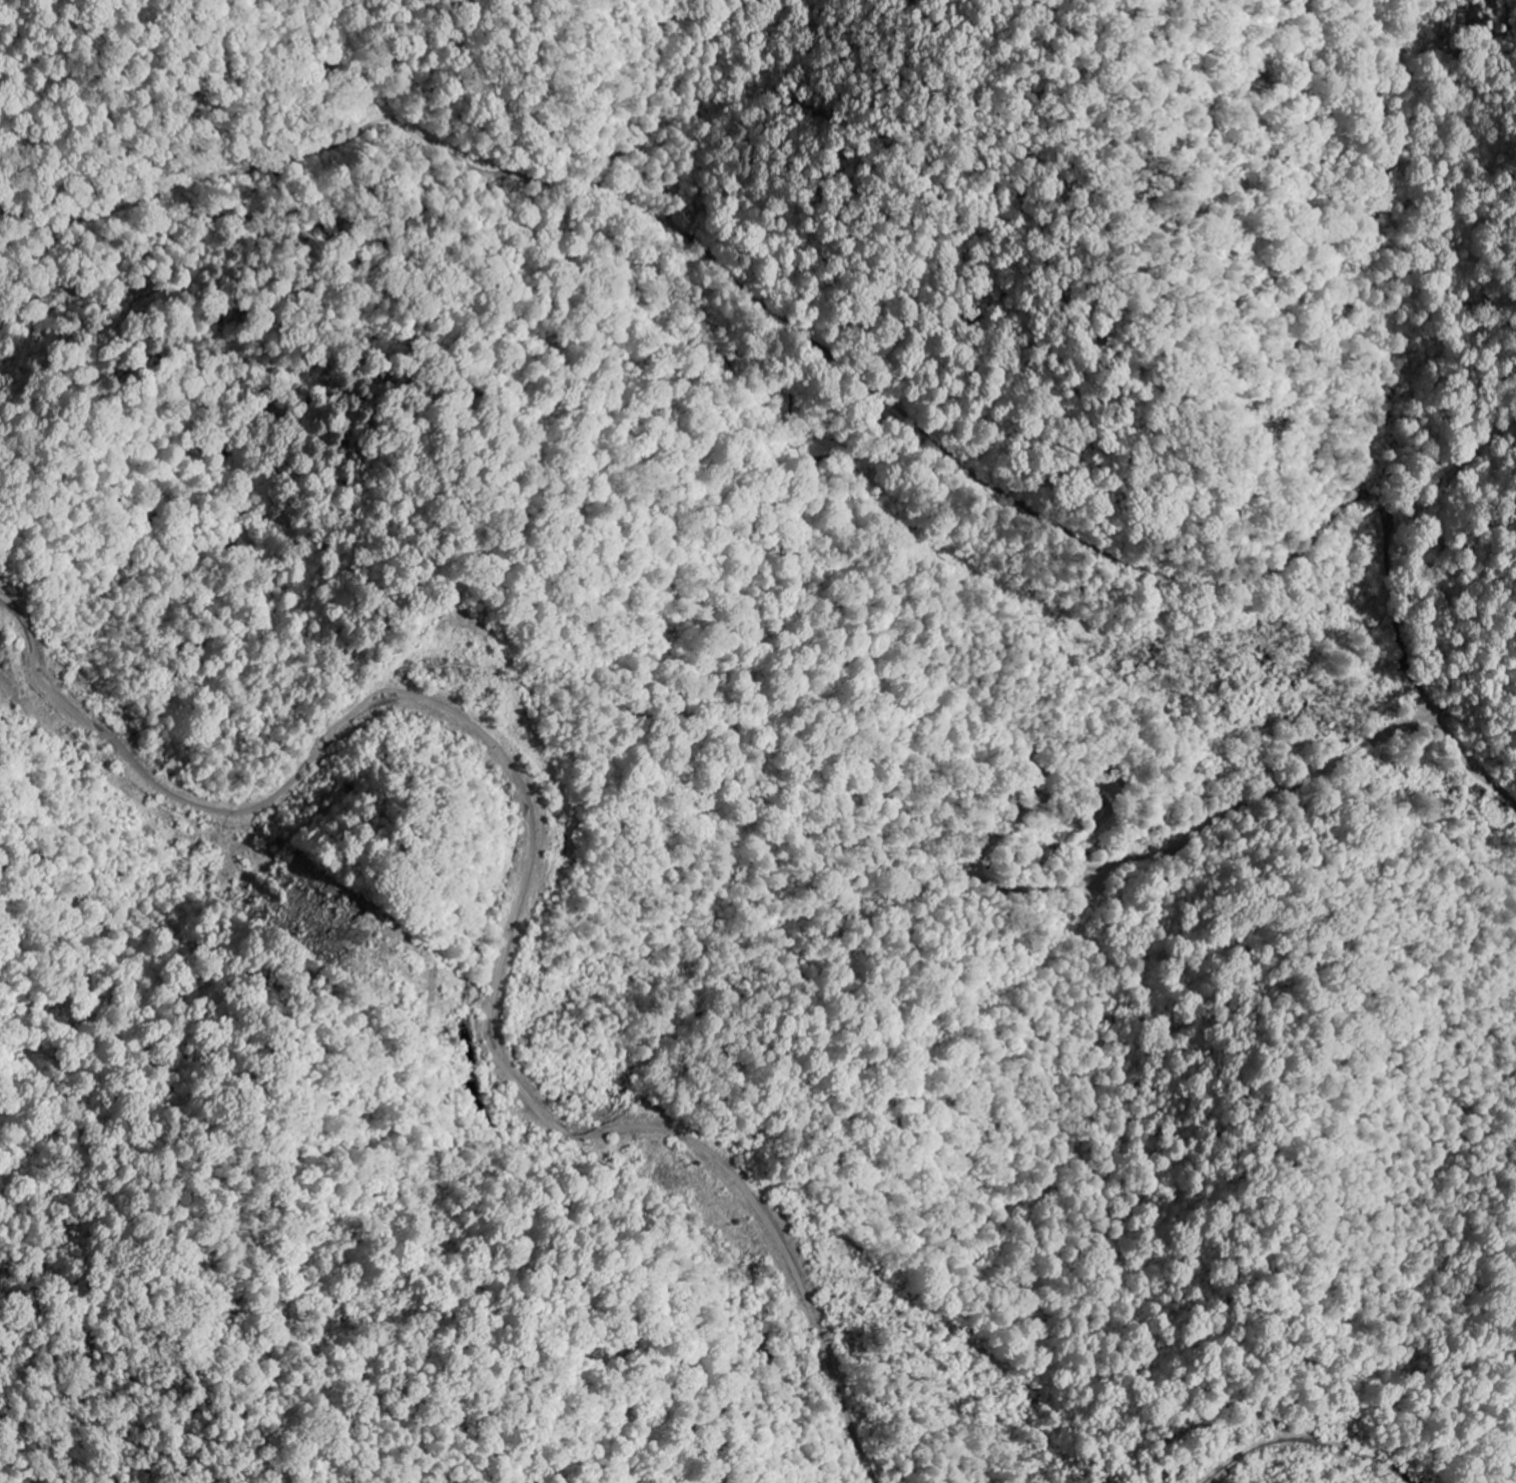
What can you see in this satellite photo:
road: (675, 1064)

